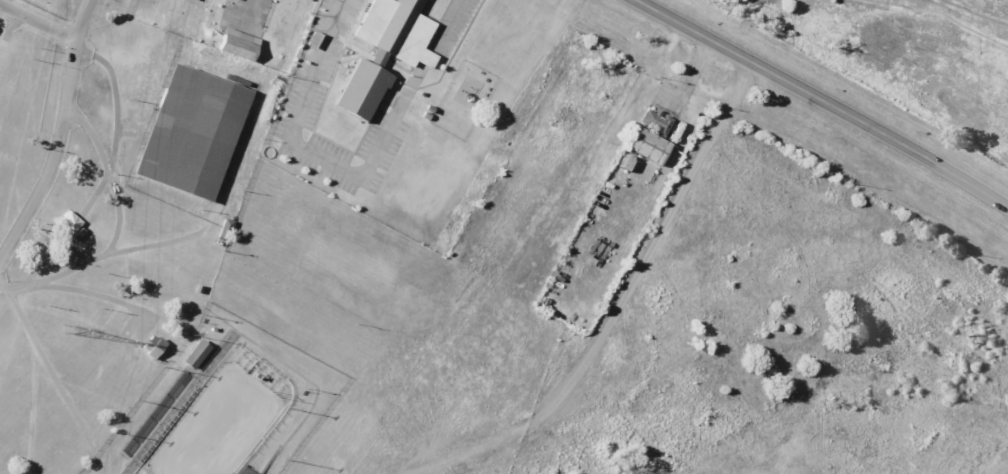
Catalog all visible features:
building: (232, 1)
road: (40, 18)
road: (292, 18)
road: (445, 23)
building: (236, 44)
building: (390, 50)
park: (906, 52)
road: (820, 100)
building: (659, 123)
building: (196, 133)
road: (62, 136)
building: (653, 149)
road: (311, 151)
park: (107, 211)
building: (223, 229)
road: (620, 308)
power tower: (69, 329)
building: (151, 346)
building: (194, 354)
road: (47, 370)
road: (42, 422)
building: (241, 471)

